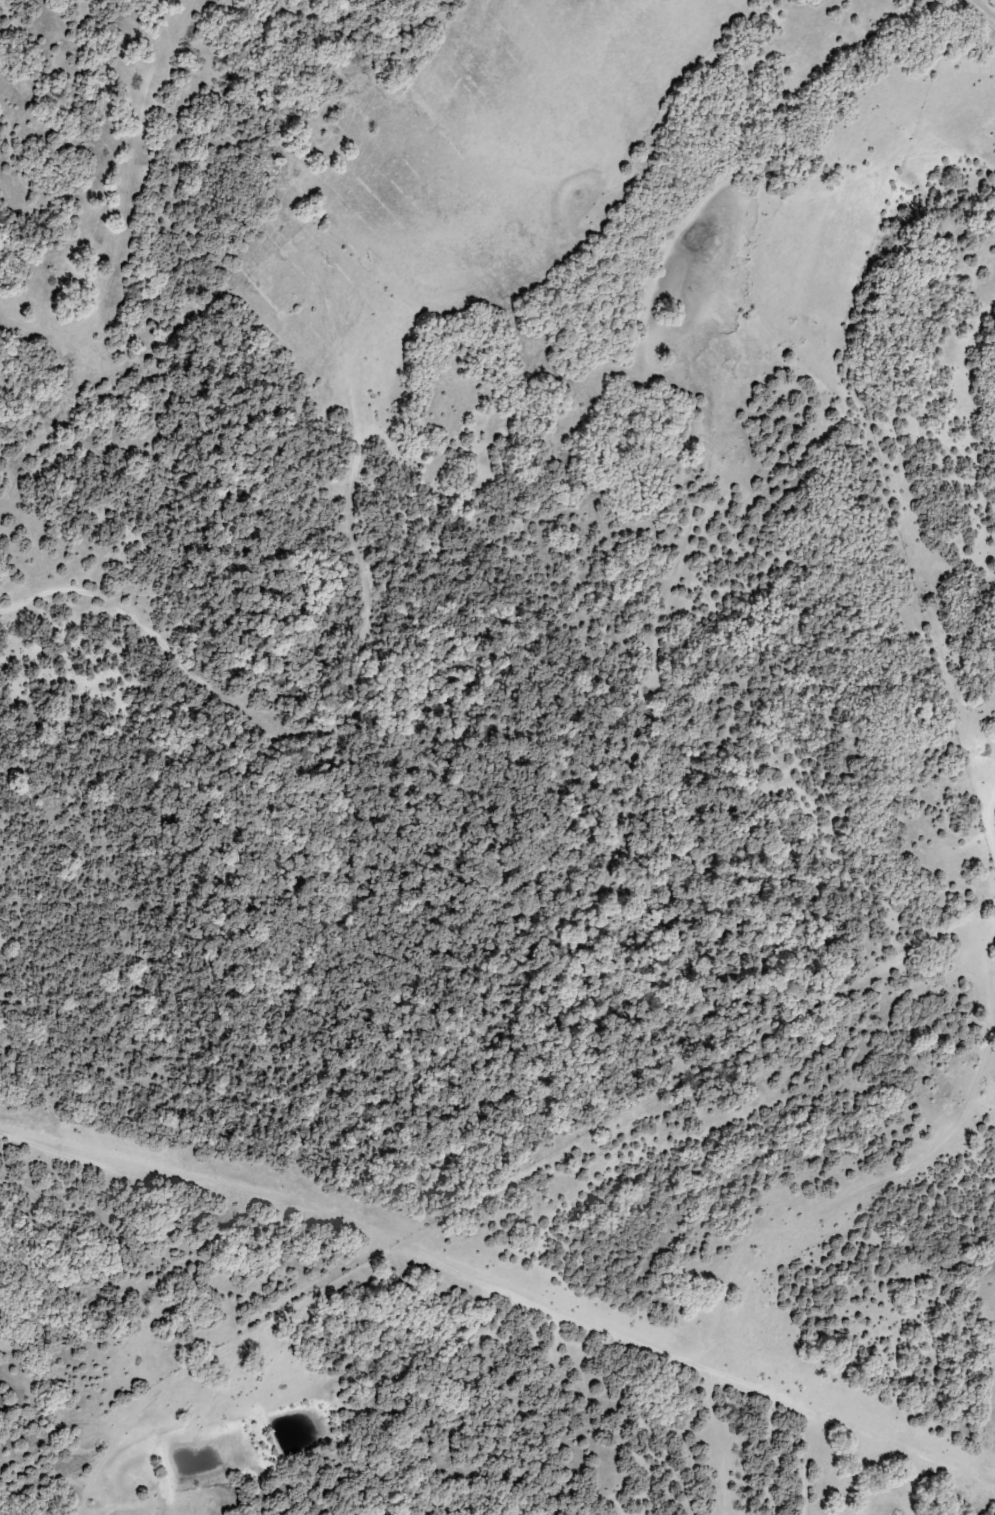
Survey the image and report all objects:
road: (989, 4)

